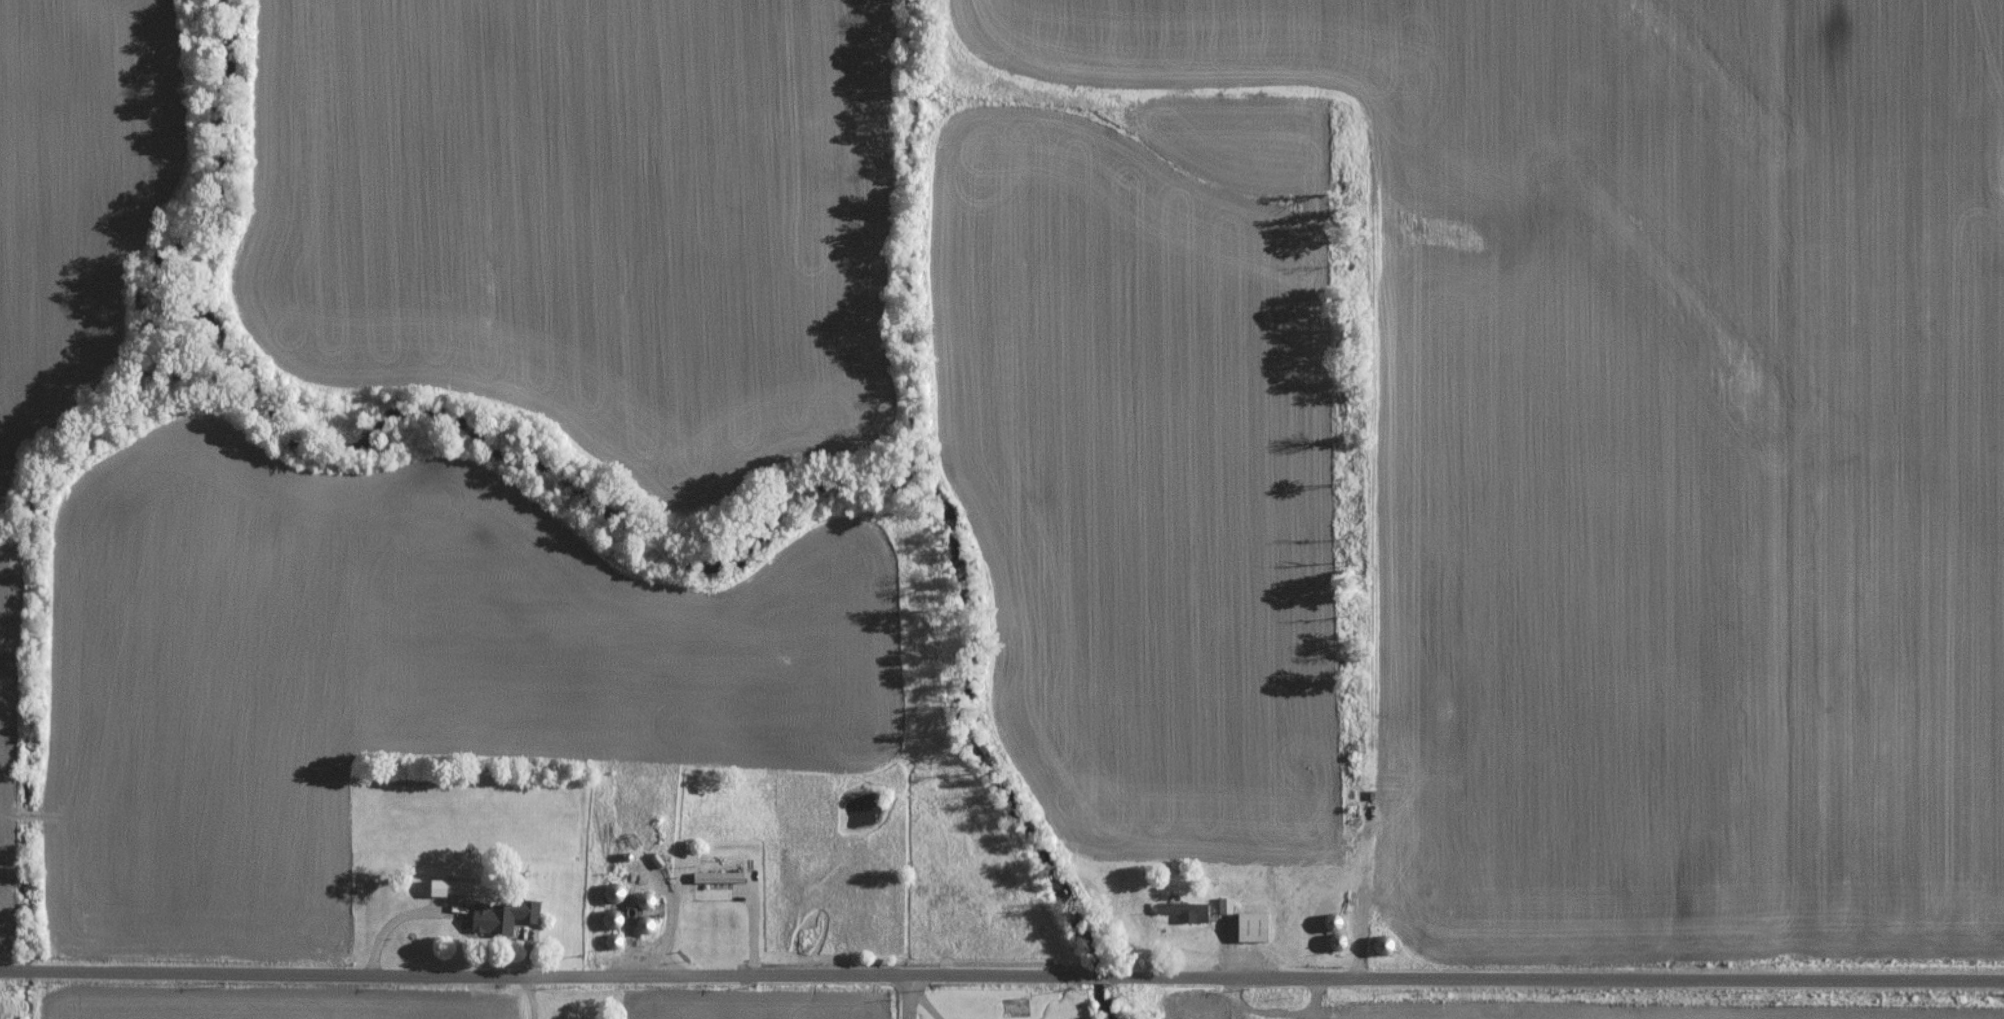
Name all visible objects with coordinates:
building: (715, 877)
building: (448, 887)
building: (1224, 905)
building: (1183, 910)
building: (500, 915)
building: (1250, 927)
road: (1002, 971)
road: (926, 995)

